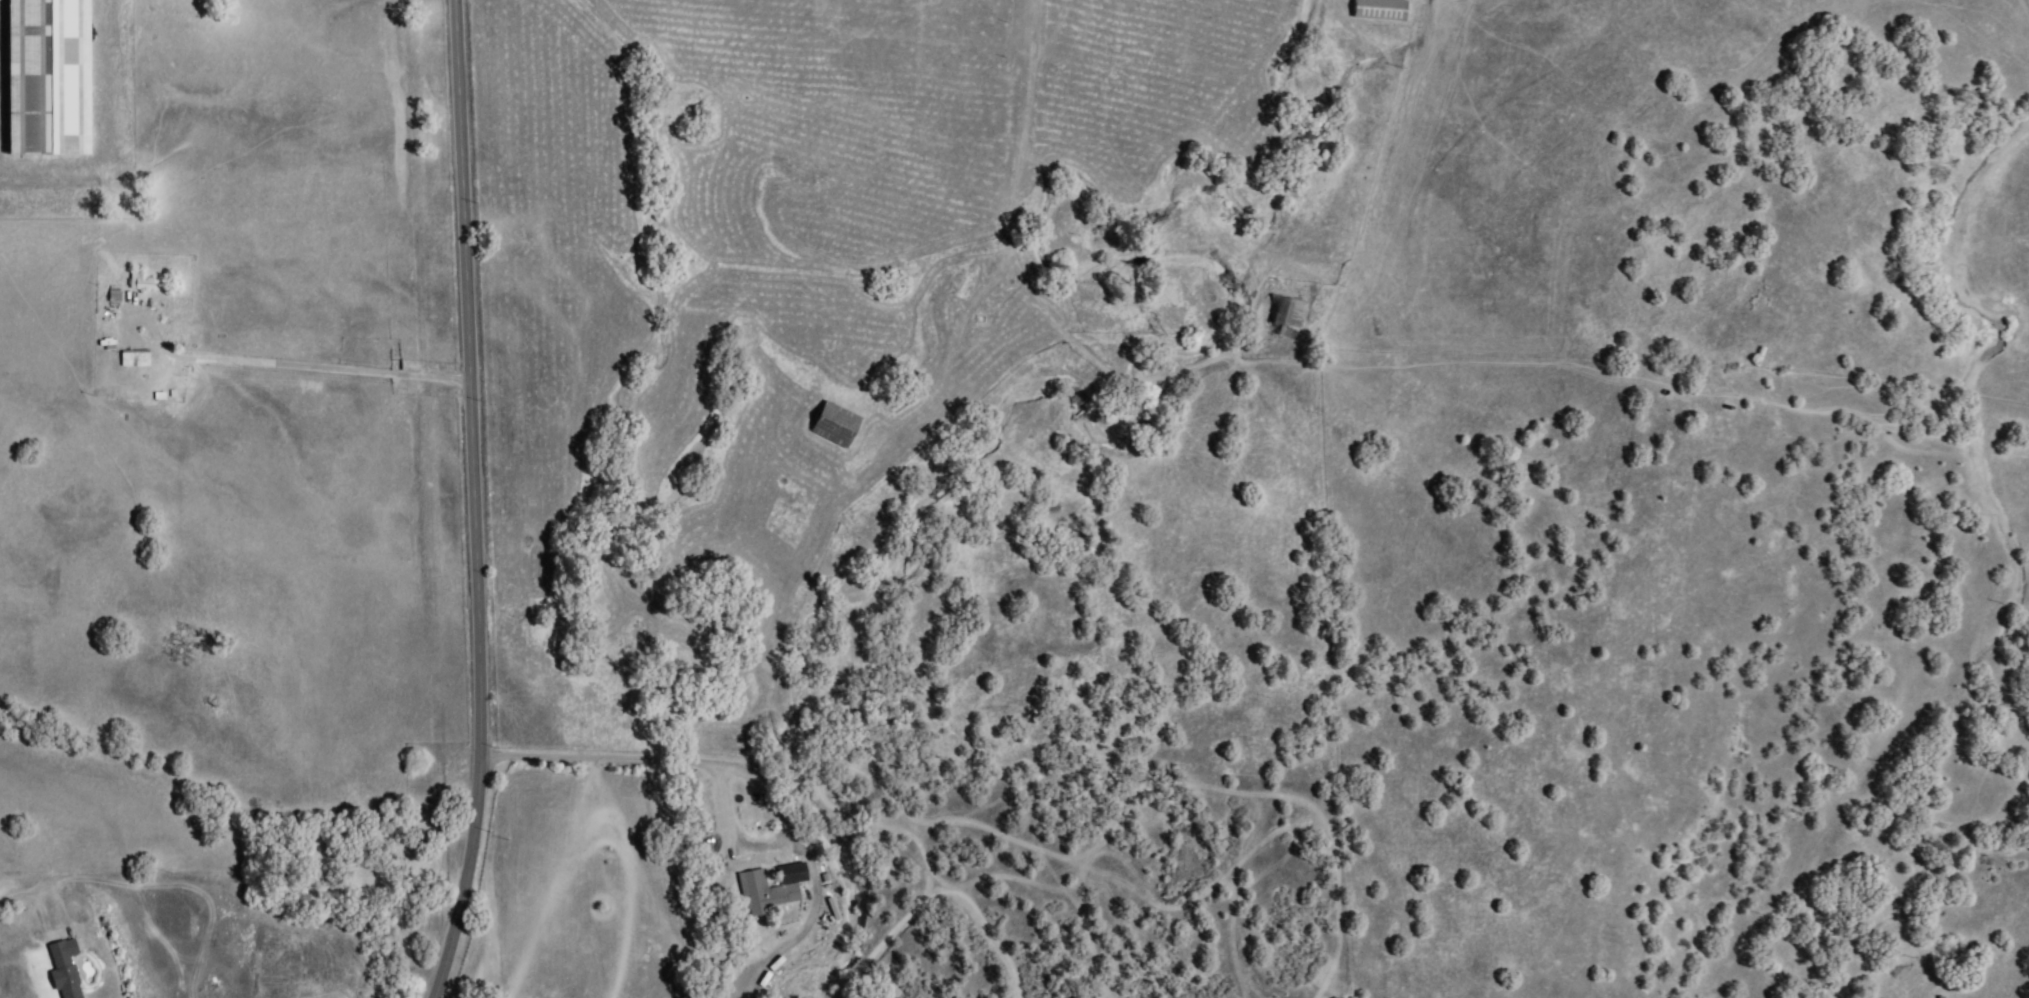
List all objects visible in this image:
building: (1380, 10)
building: (49, 76)
building: (146, 283)
building: (1291, 317)
building: (137, 358)
road: (301, 367)
building: (837, 425)
road: (474, 501)
road: (719, 763)
road: (28, 888)
building: (765, 893)
road: (800, 929)
building: (66, 969)

